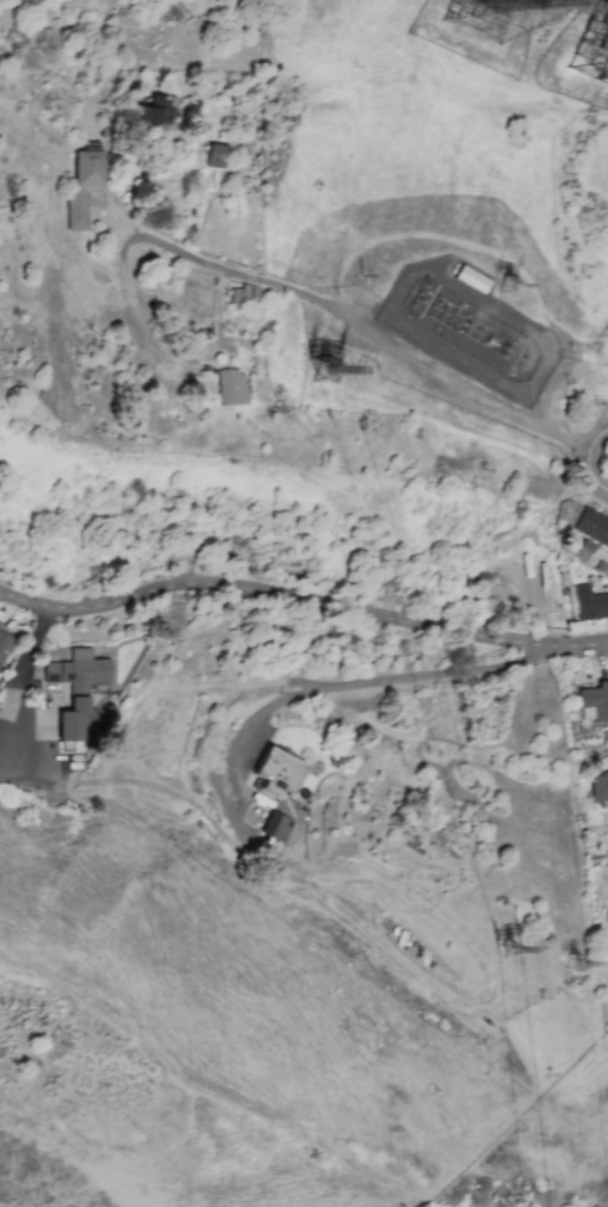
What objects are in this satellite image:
power tower: (477, 5)
building: (160, 110)
building: (216, 156)
building: (82, 187)
building: (471, 279)
power tower: (516, 289)
building: (244, 295)
road: (353, 330)
power substation: (467, 332)
road: (168, 357)
power tower: (319, 371)
building: (231, 388)
road: (587, 470)
building: (593, 526)
road: (303, 600)
building: (590, 603)
road: (547, 626)
building: (4, 642)
road: (356, 682)
building: (76, 688)
building: (595, 700)
building: (278, 772)
building: (277, 827)
building: (607, 928)
power tower: (501, 949)
power tower: (572, 965)

